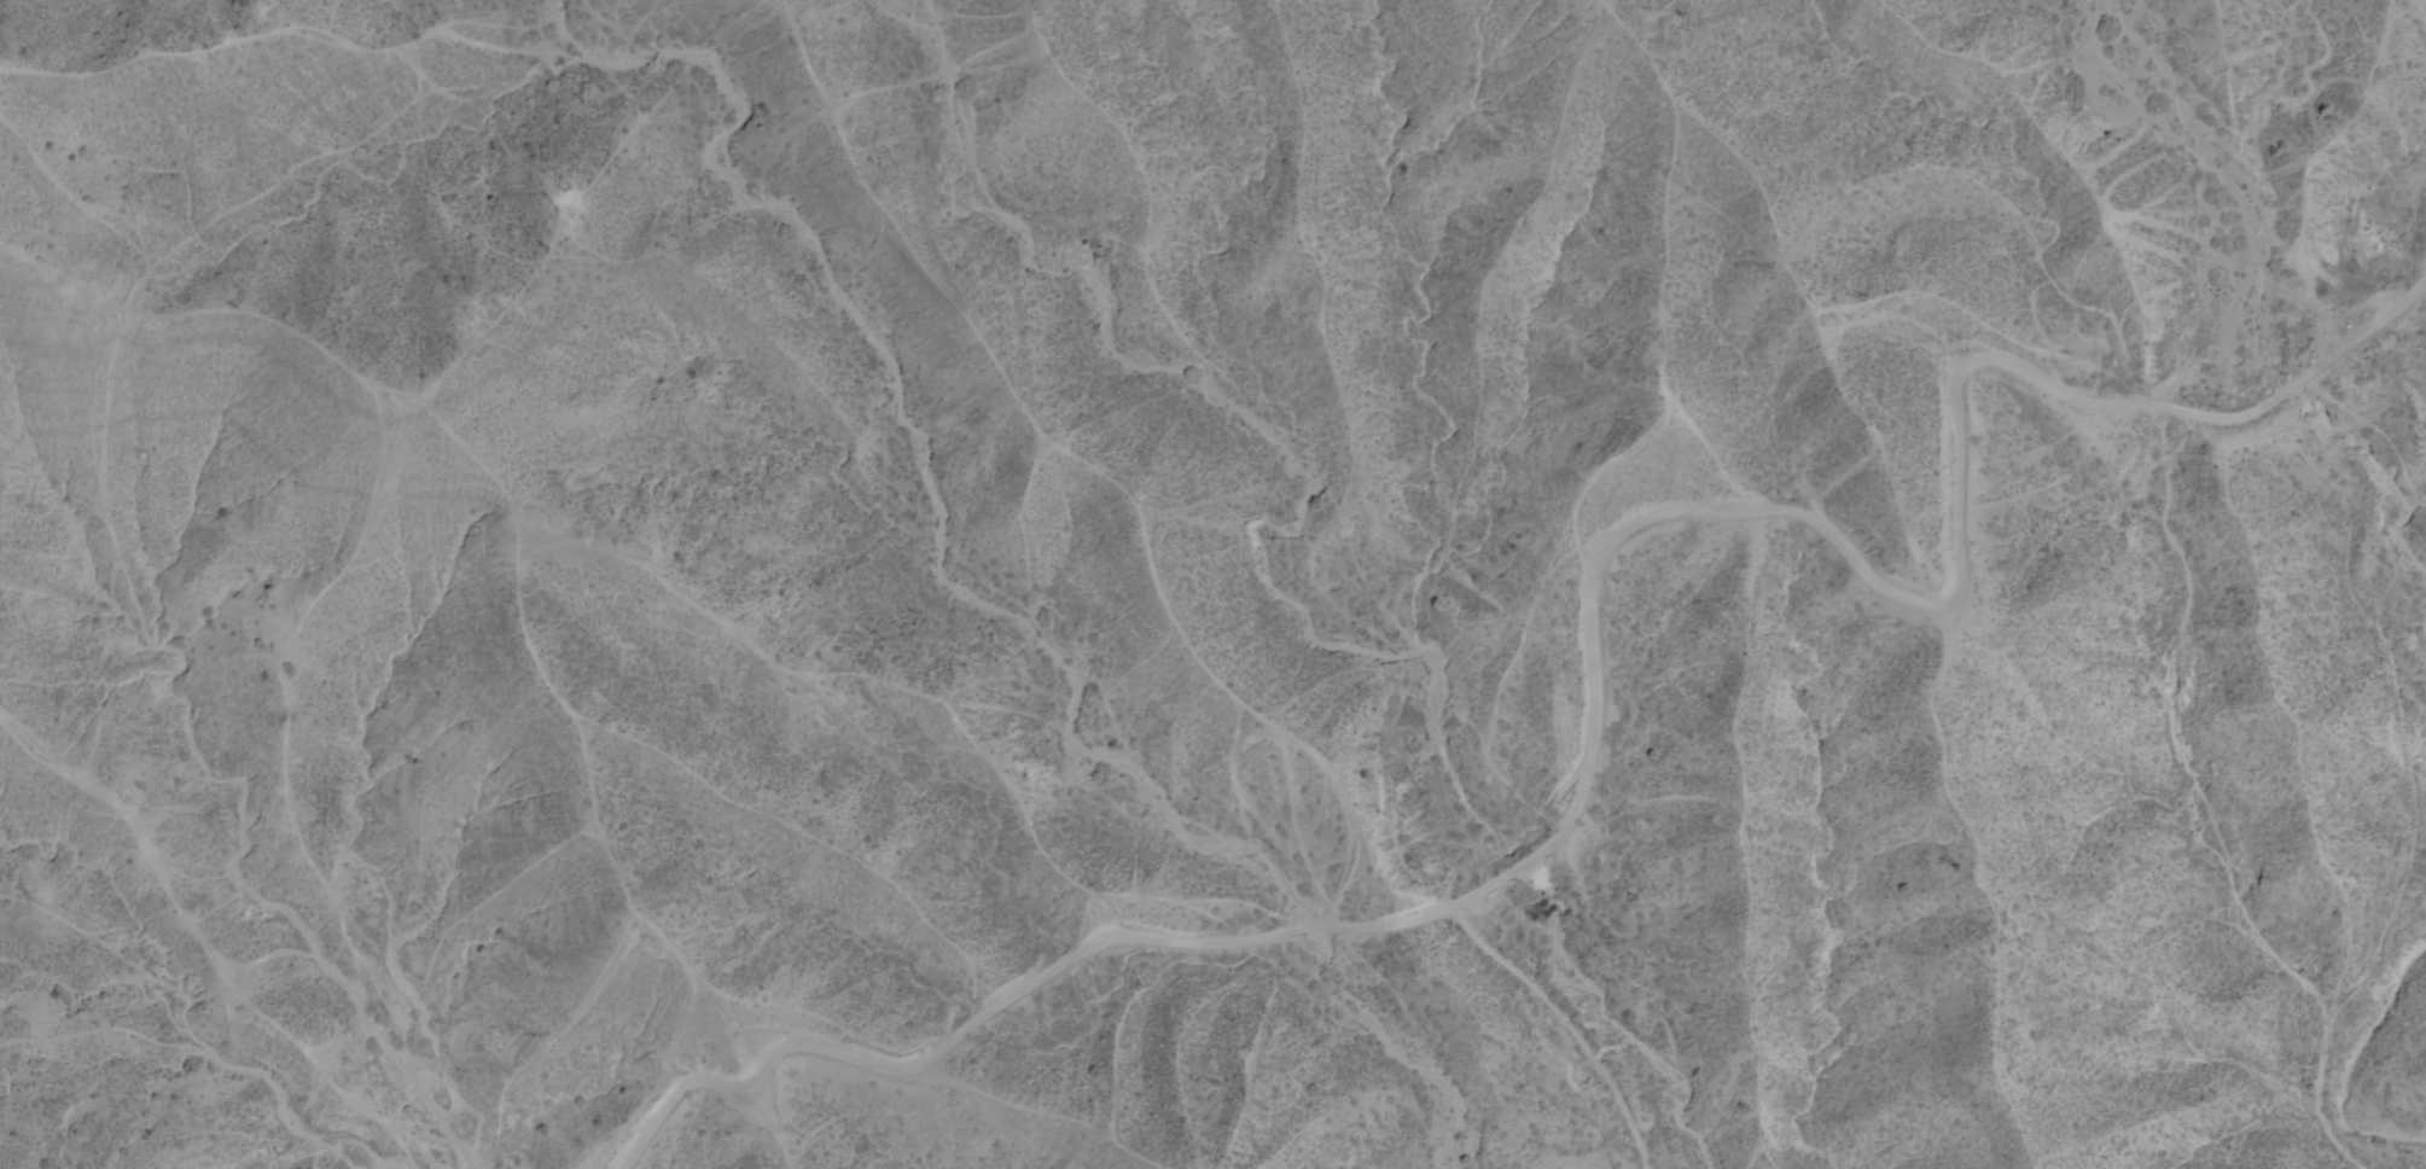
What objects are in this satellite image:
road: (1593, 659)

